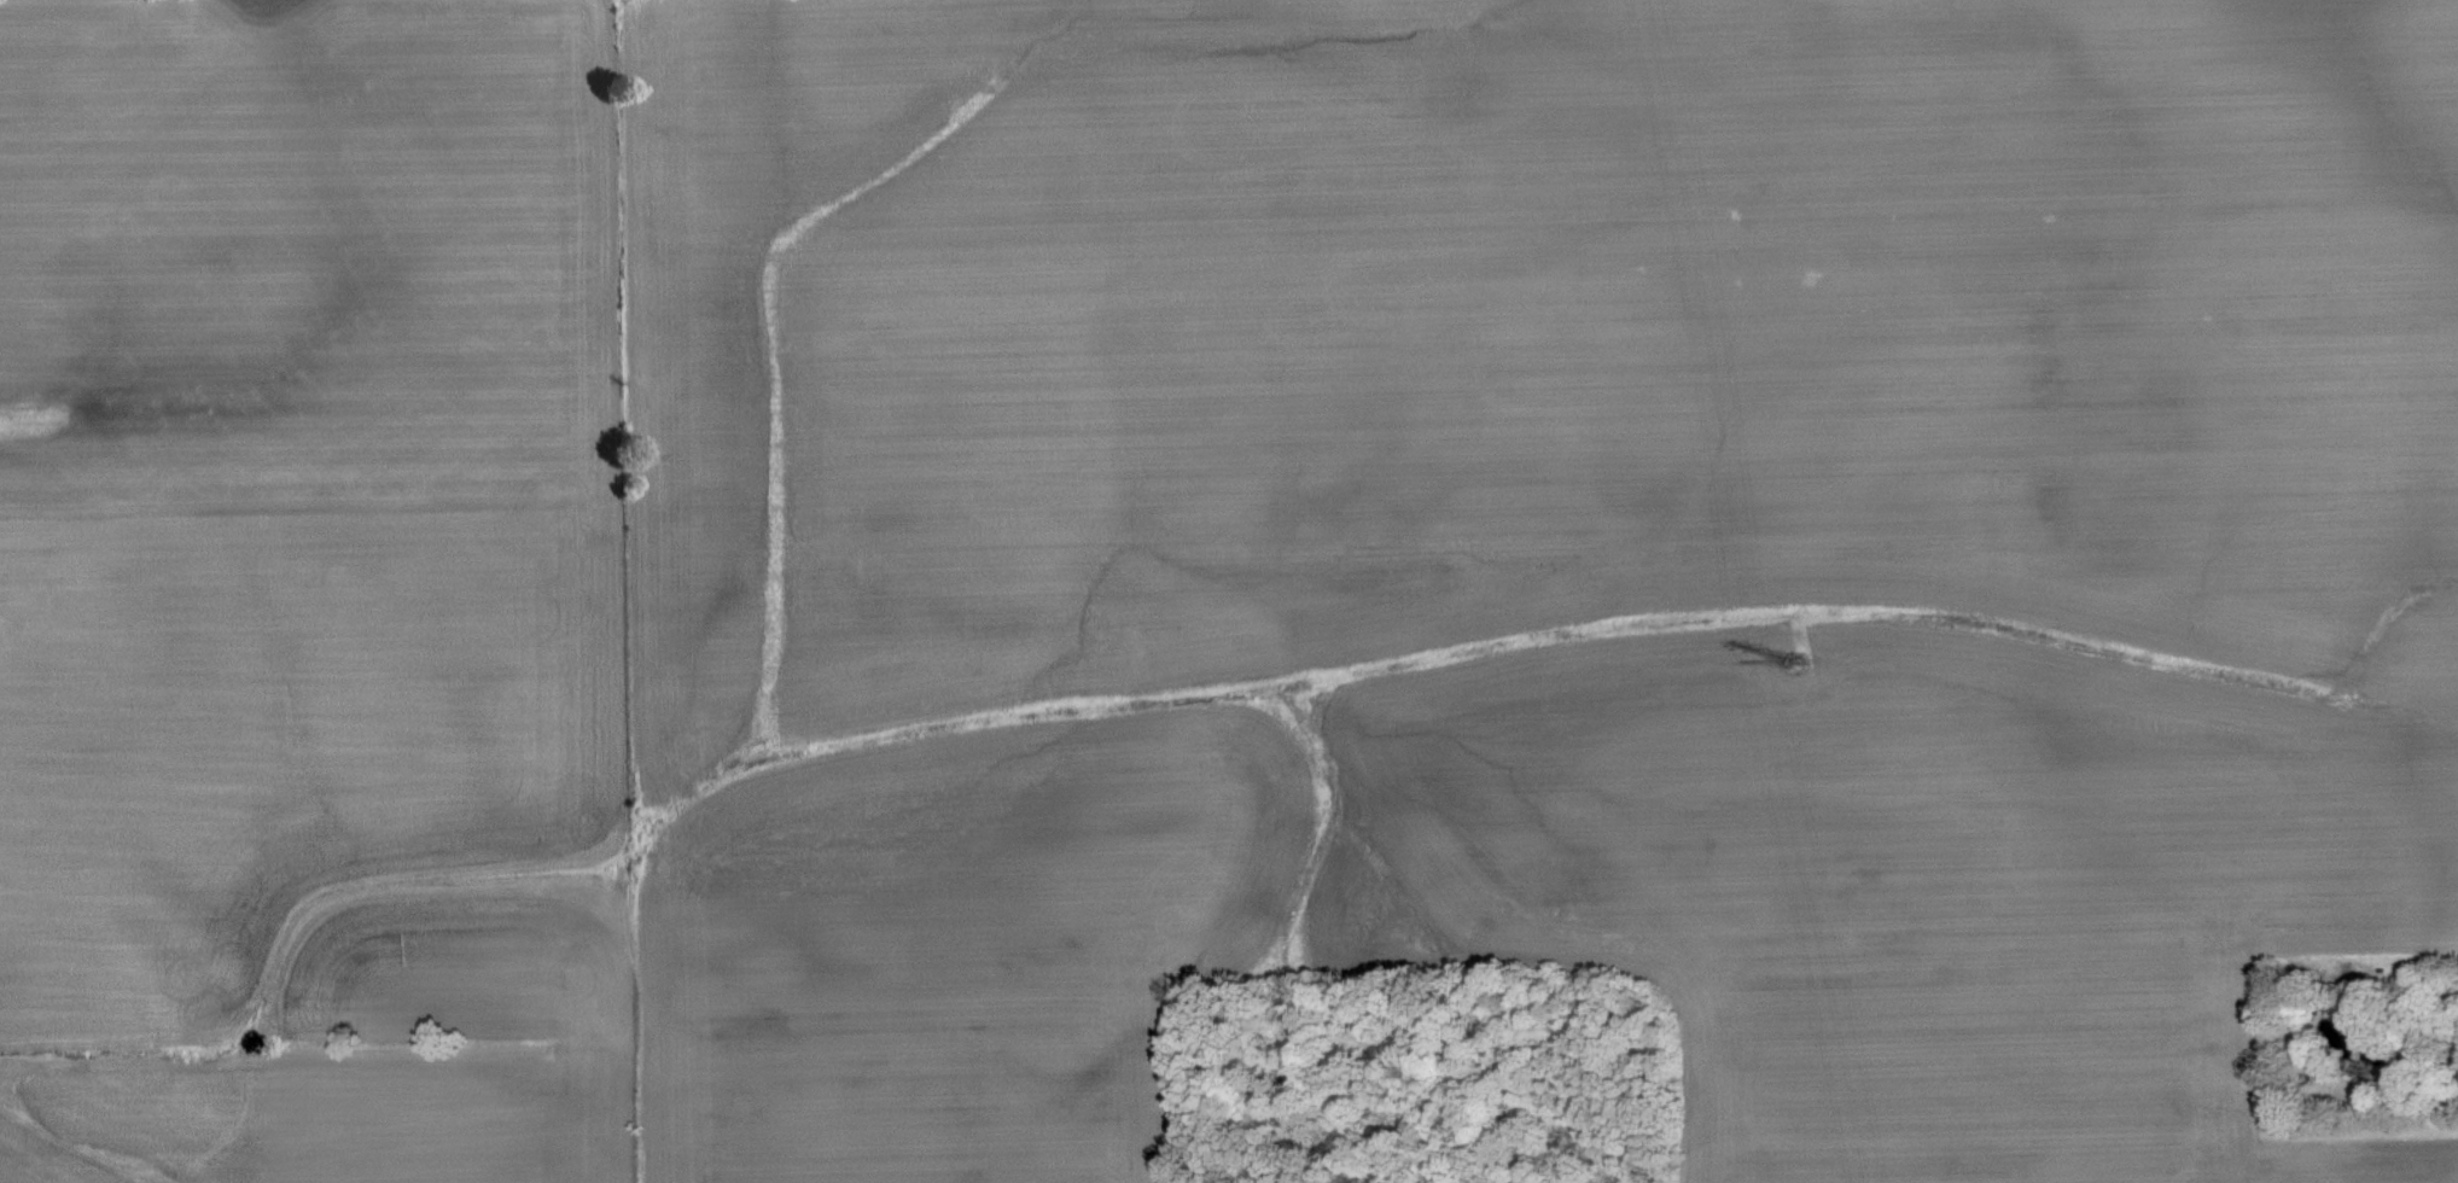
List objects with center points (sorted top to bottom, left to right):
power tower: (1805, 654)

